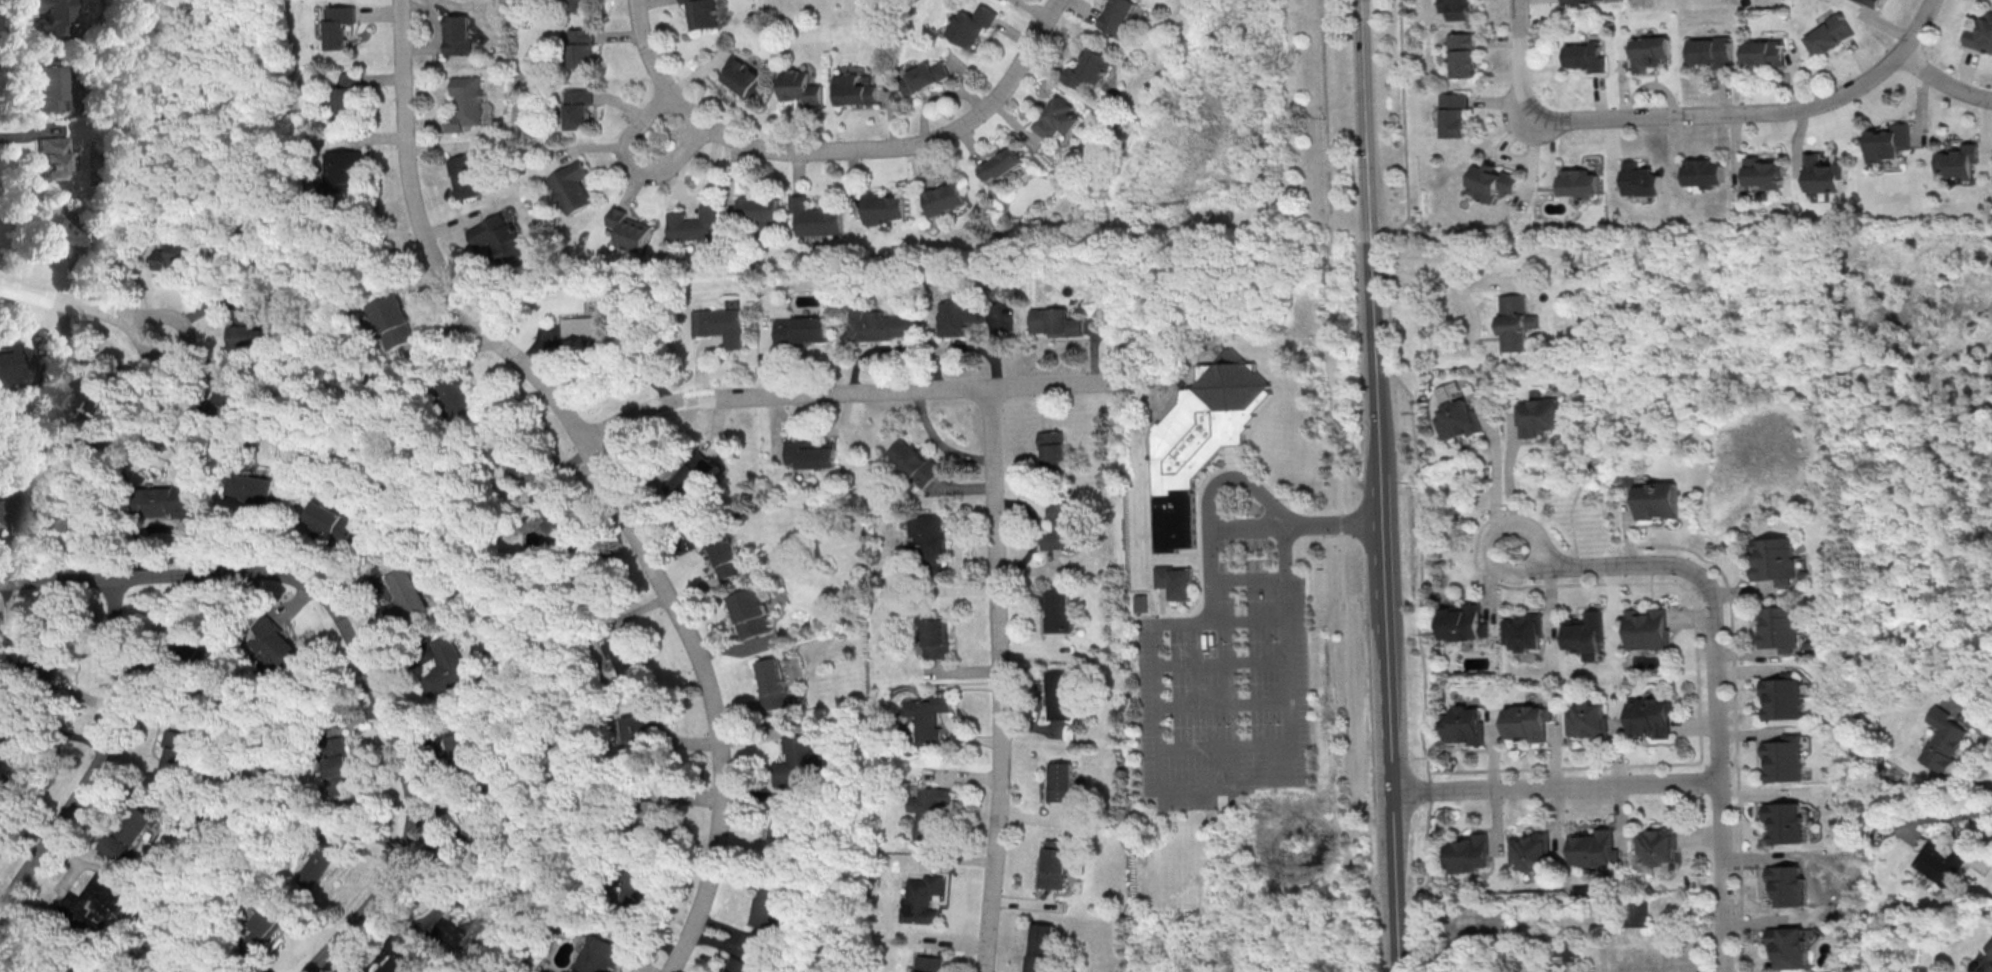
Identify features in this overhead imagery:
building: (1006, 0)
building: (1578, 1)
building: (1872, 2)
building: (579, 5)
building: (1456, 8)
building: (702, 13)
building: (58, 16)
building: (1119, 17)
park: (834, 18)
building: (971, 24)
building: (338, 25)
building: (463, 32)
building: (1981, 33)
building: (1829, 34)
building: (584, 45)
building: (1711, 50)
building: (1763, 51)
building: (1649, 52)
building: (1462, 54)
building: (1585, 55)
road: (651, 58)
building: (1089, 67)
building: (743, 77)
building: (923, 77)
road: (1363, 79)
building: (51, 80)
road: (1943, 81)
building: (800, 86)
building: (854, 88)
building: (349, 95)
building: (470, 101)
building: (579, 108)
building: (1453, 114)
road: (1695, 114)
building: (1056, 118)
building: (1889, 142)
road: (899, 145)
building: (55, 155)
building: (1959, 160)
building: (1001, 164)
road: (630, 165)
building: (337, 166)
building: (1763, 171)
building: (1702, 172)
building: (1824, 173)
building: (471, 174)
building: (1639, 179)
building: (1492, 181)
building: (1578, 182)
building: (572, 183)
building: (943, 198)
building: (883, 206)
building: (762, 210)
building: (817, 216)
building: (694, 224)
building: (60, 229)
building: (628, 230)
building: (502, 237)
building: (180, 250)
road: (81, 306)
building: (957, 313)
building: (1516, 317)
building: (398, 319)
road: (1476, 319)
building: (877, 323)
building: (1055, 323)
building: (723, 324)
building: (246, 326)
building: (596, 326)
building: (803, 329)
road: (600, 360)
building: (12, 362)
road: (1335, 373)
building: (1448, 390)
building: (94, 391)
road: (843, 392)
building: (463, 397)
building: (223, 401)
building: (1539, 415)
building: (1456, 419)
building: (1199, 440)
building: (1047, 450)
building: (514, 453)
building: (810, 455)
building: (912, 462)
road: (601, 473)
building: (695, 474)
road: (1414, 482)
road: (1251, 484)
building: (250, 488)
road: (1508, 493)
building: (167, 500)
building: (1657, 500)
building: (12, 511)
building: (556, 515)
building: (84, 516)
building: (332, 518)
building: (1058, 525)
road: (1278, 526)
building: (926, 540)
building: (723, 552)
building: (1775, 559)
road: (1384, 565)
road: (1250, 577)
building: (1172, 580)
building: (595, 581)
building: (408, 594)
building: (1137, 602)
building: (1055, 611)
building: (753, 613)
road: (1251, 622)
building: (1462, 622)
road: (1182, 624)
building: (1780, 626)
building: (1648, 629)
building: (1523, 630)
building: (1584, 634)
road: (351, 638)
building: (932, 638)
building: (278, 642)
building: (188, 648)
building: (628, 652)
building: (44, 659)
road: (1216, 662)
building: (448, 667)
parking lot: (1229, 668)
road: (1715, 676)
road: (998, 679)
building: (774, 681)
building: (1057, 691)
building: (1783, 698)
road: (1217, 707)
building: (926, 715)
building: (1652, 716)
road: (1968, 719)
building: (1589, 720)
building: (1528, 722)
building: (1465, 725)
building: (641, 726)
road: (1149, 740)
building: (1941, 740)
road: (1252, 747)
building: (467, 749)
building: (178, 754)
building: (21, 759)
road: (103, 760)
building: (796, 760)
building: (1784, 760)
building: (336, 764)
building: (1058, 780)
road: (1556, 785)
building: (931, 811)
building: (657, 813)
road: (1936, 817)
building: (1786, 822)
building: (480, 827)
building: (785, 831)
building: (128, 834)
building: (1658, 845)
building: (1595, 848)
building: (1532, 850)
building: (1470, 853)
building: (321, 858)
building: (1942, 861)
building: (1051, 862)
building: (642, 885)
building: (1788, 885)
building: (919, 897)
building: (772, 901)
building: (96, 904)
building: (1635, 913)
building: (460, 916)
building: (266, 927)
building: (1037, 946)
building: (1789, 947)
building: (1572, 950)
building: (601, 954)
building: (55, 957)
building: (1986, 957)
building: (926, 963)
building: (393, 965)
building: (740, 965)
building: (215, 966)

